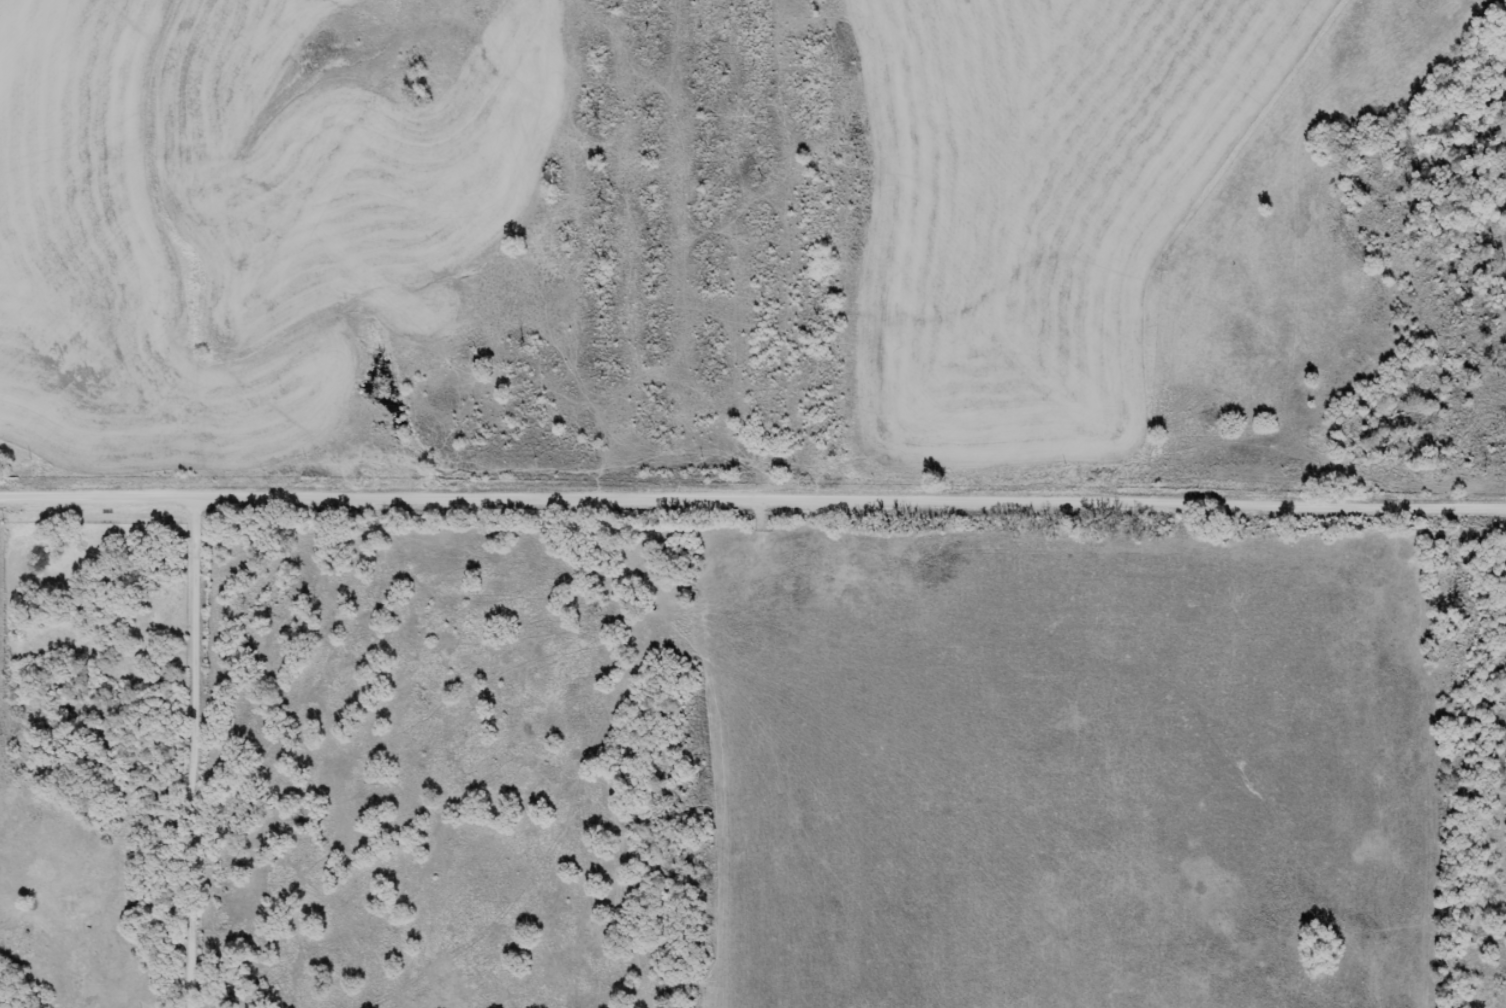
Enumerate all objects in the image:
road: (753, 498)
park: (93, 610)
road: (210, 752)

